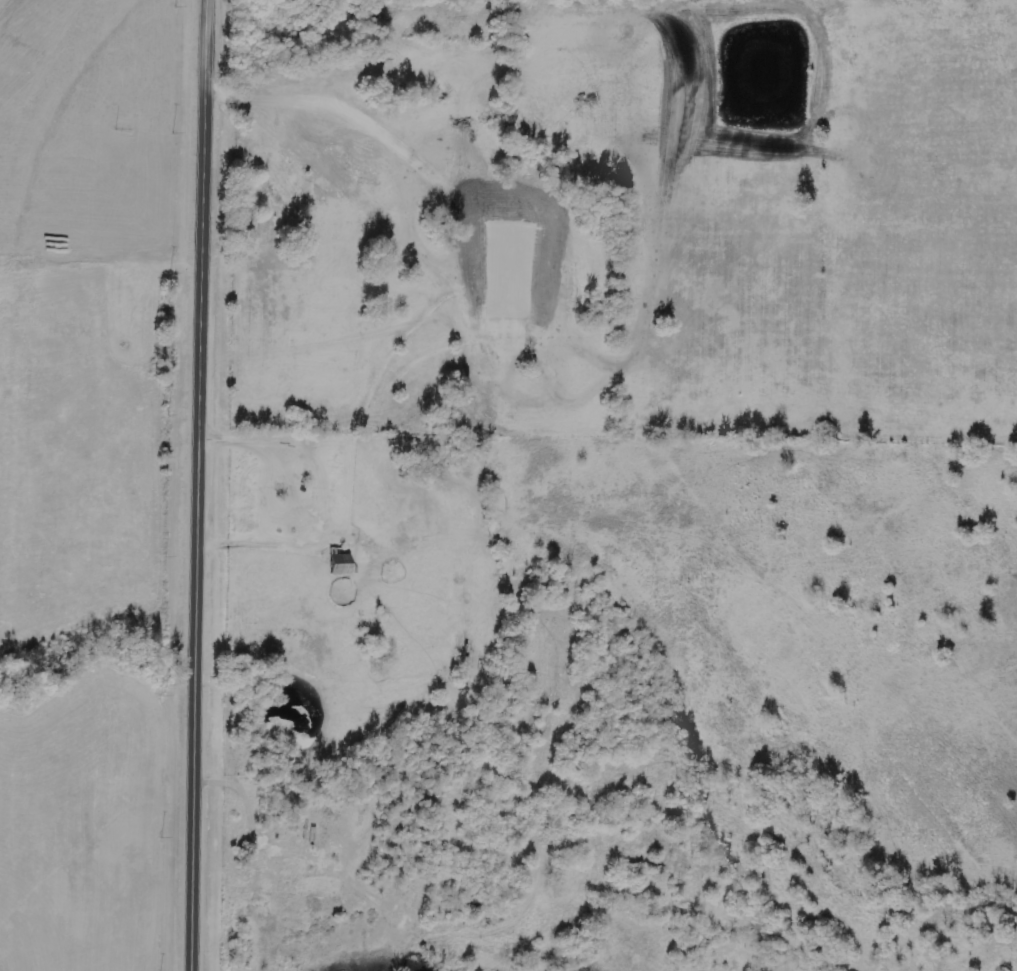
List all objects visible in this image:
road: (204, 485)
building: (339, 565)
road: (319, 843)

